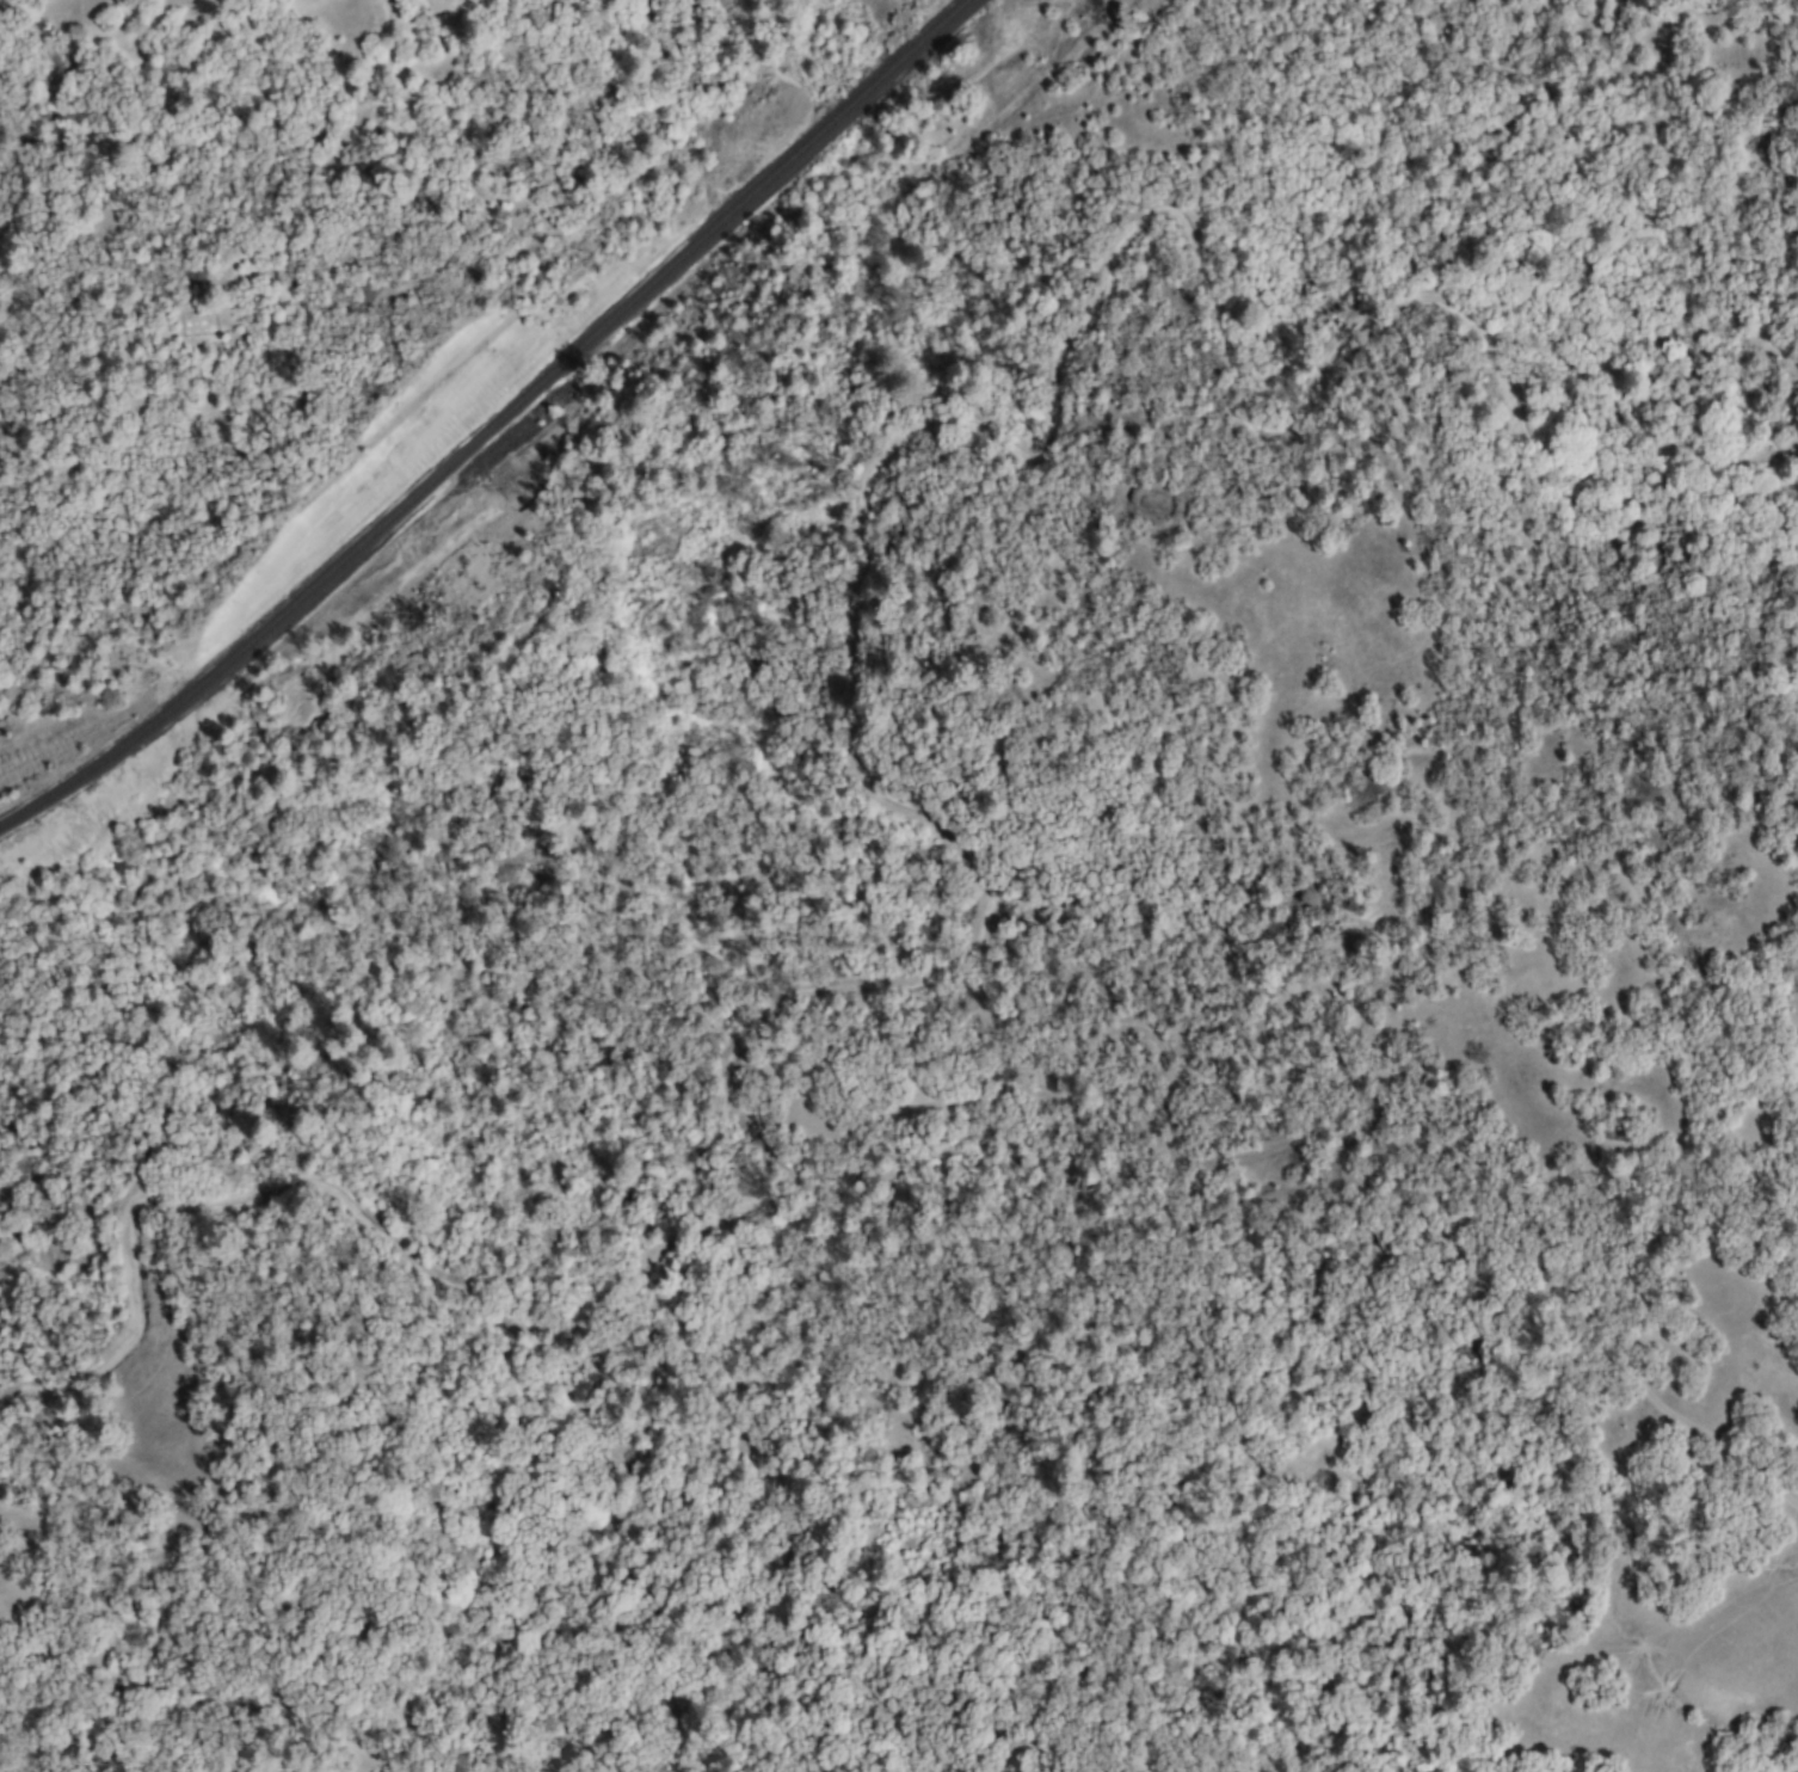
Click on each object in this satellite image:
railway: (497, 427)
road: (1793, 1770)

